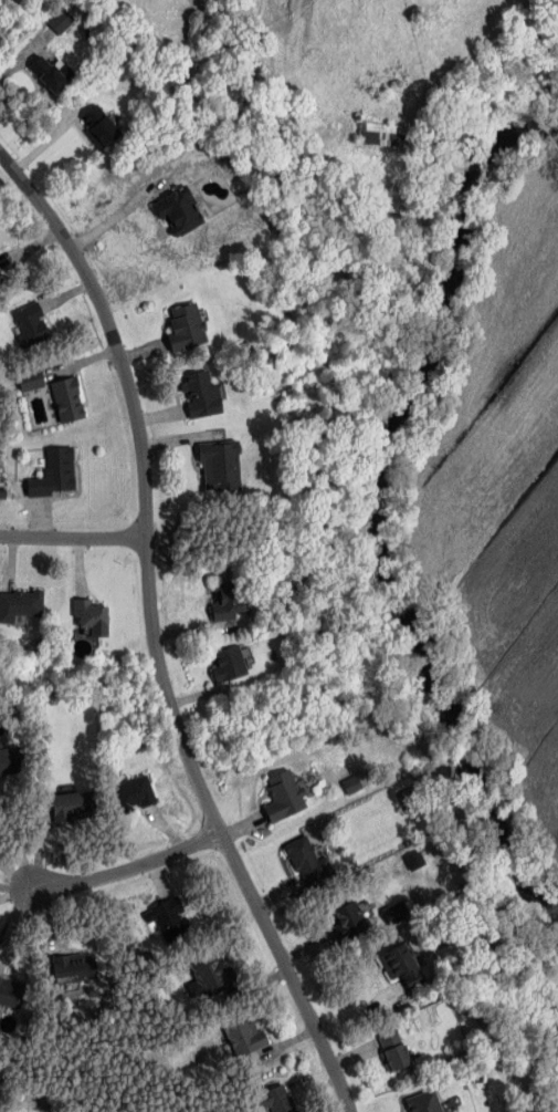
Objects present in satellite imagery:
building: (61, 20)
building: (53, 73)
building: (101, 126)
building: (382, 134)
building: (181, 210)
road: (113, 218)
building: (0, 272)
building: (32, 323)
building: (188, 326)
building: (202, 395)
building: (70, 401)
building: (222, 466)
building: (55, 472)
road: (74, 537)
building: (20, 604)
building: (229, 604)
building: (94, 617)
road: (156, 636)
building: (231, 665)
building: (12, 760)
building: (354, 783)
building: (143, 797)
building: (284, 797)
building: (73, 808)
building: (308, 859)
building: (415, 861)
road: (128, 870)
road: (15, 874)
building: (170, 918)
building: (403, 965)
building: (80, 969)
building: (217, 977)
building: (11, 993)
building: (394, 1049)
building: (425, 1102)

